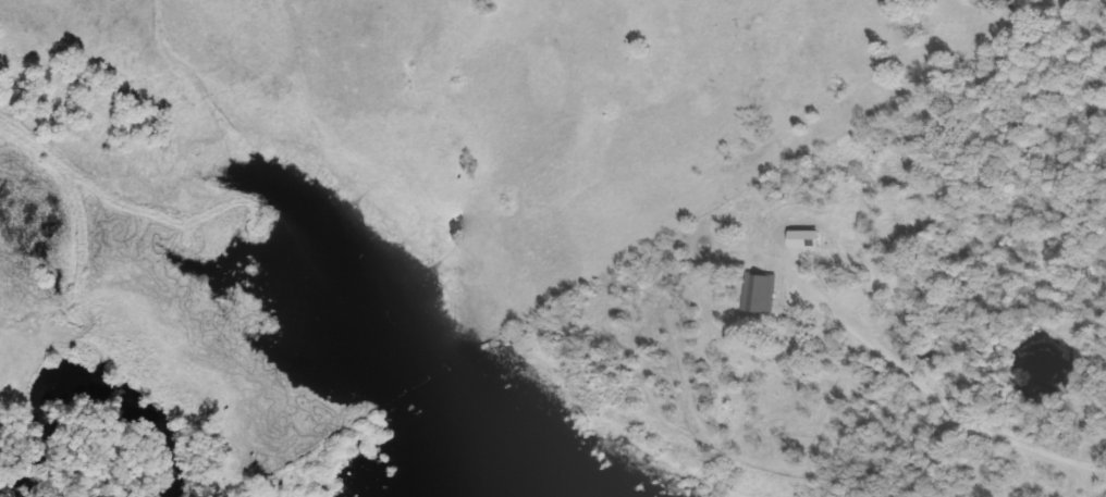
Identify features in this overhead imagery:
building: (757, 291)

